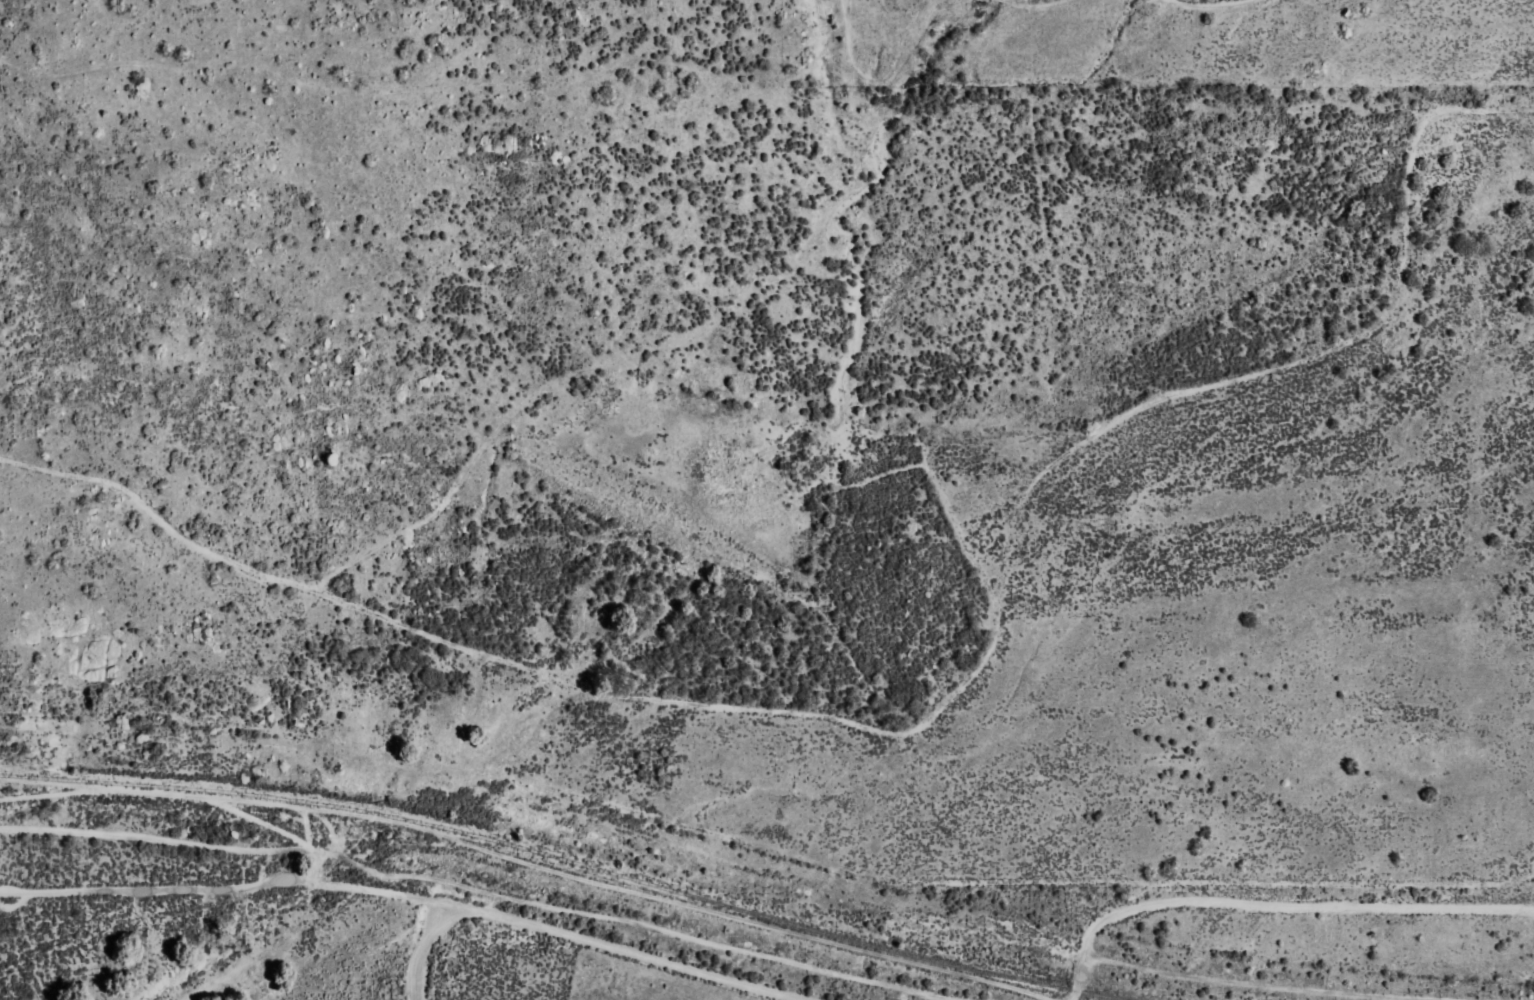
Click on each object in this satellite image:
railway: (557, 858)
road: (148, 891)
road: (1269, 895)
road: (210, 906)
road: (619, 949)
road: (425, 953)

